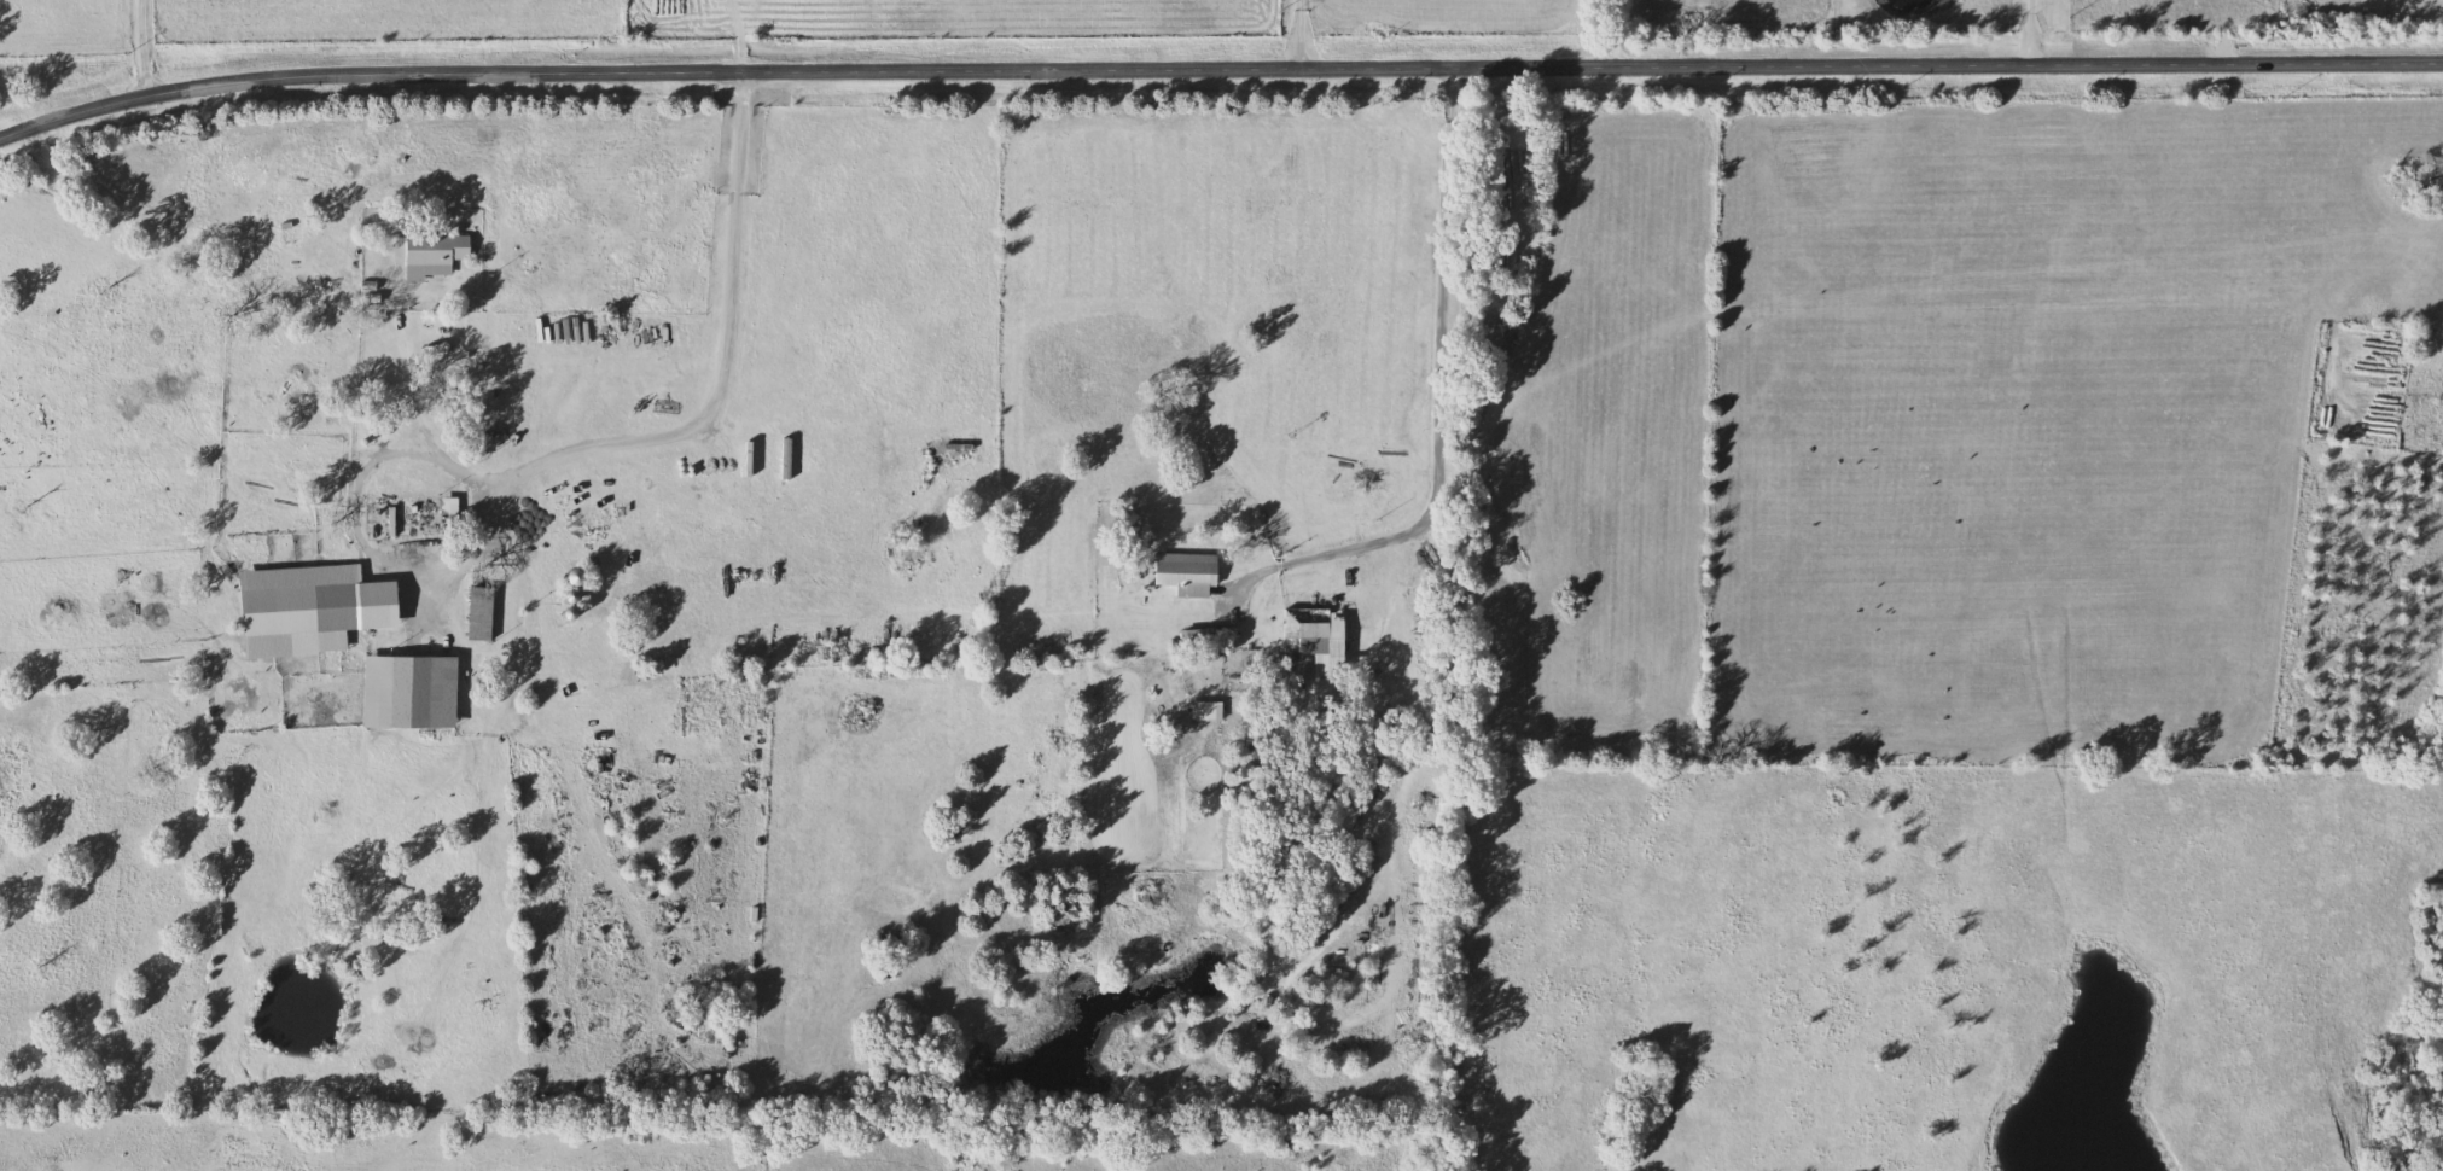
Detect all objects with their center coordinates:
road: (2038, 28)
road: (1619, 29)
road: (1304, 31)
road: (147, 45)
road: (1216, 65)
road: (670, 165)
building: (442, 249)
road: (1439, 363)
road: (413, 386)
road: (638, 439)
building: (754, 459)
building: (452, 514)
building: (1193, 572)
building: (583, 577)
building: (316, 608)
building: (485, 613)
building: (1314, 627)
building: (415, 692)

